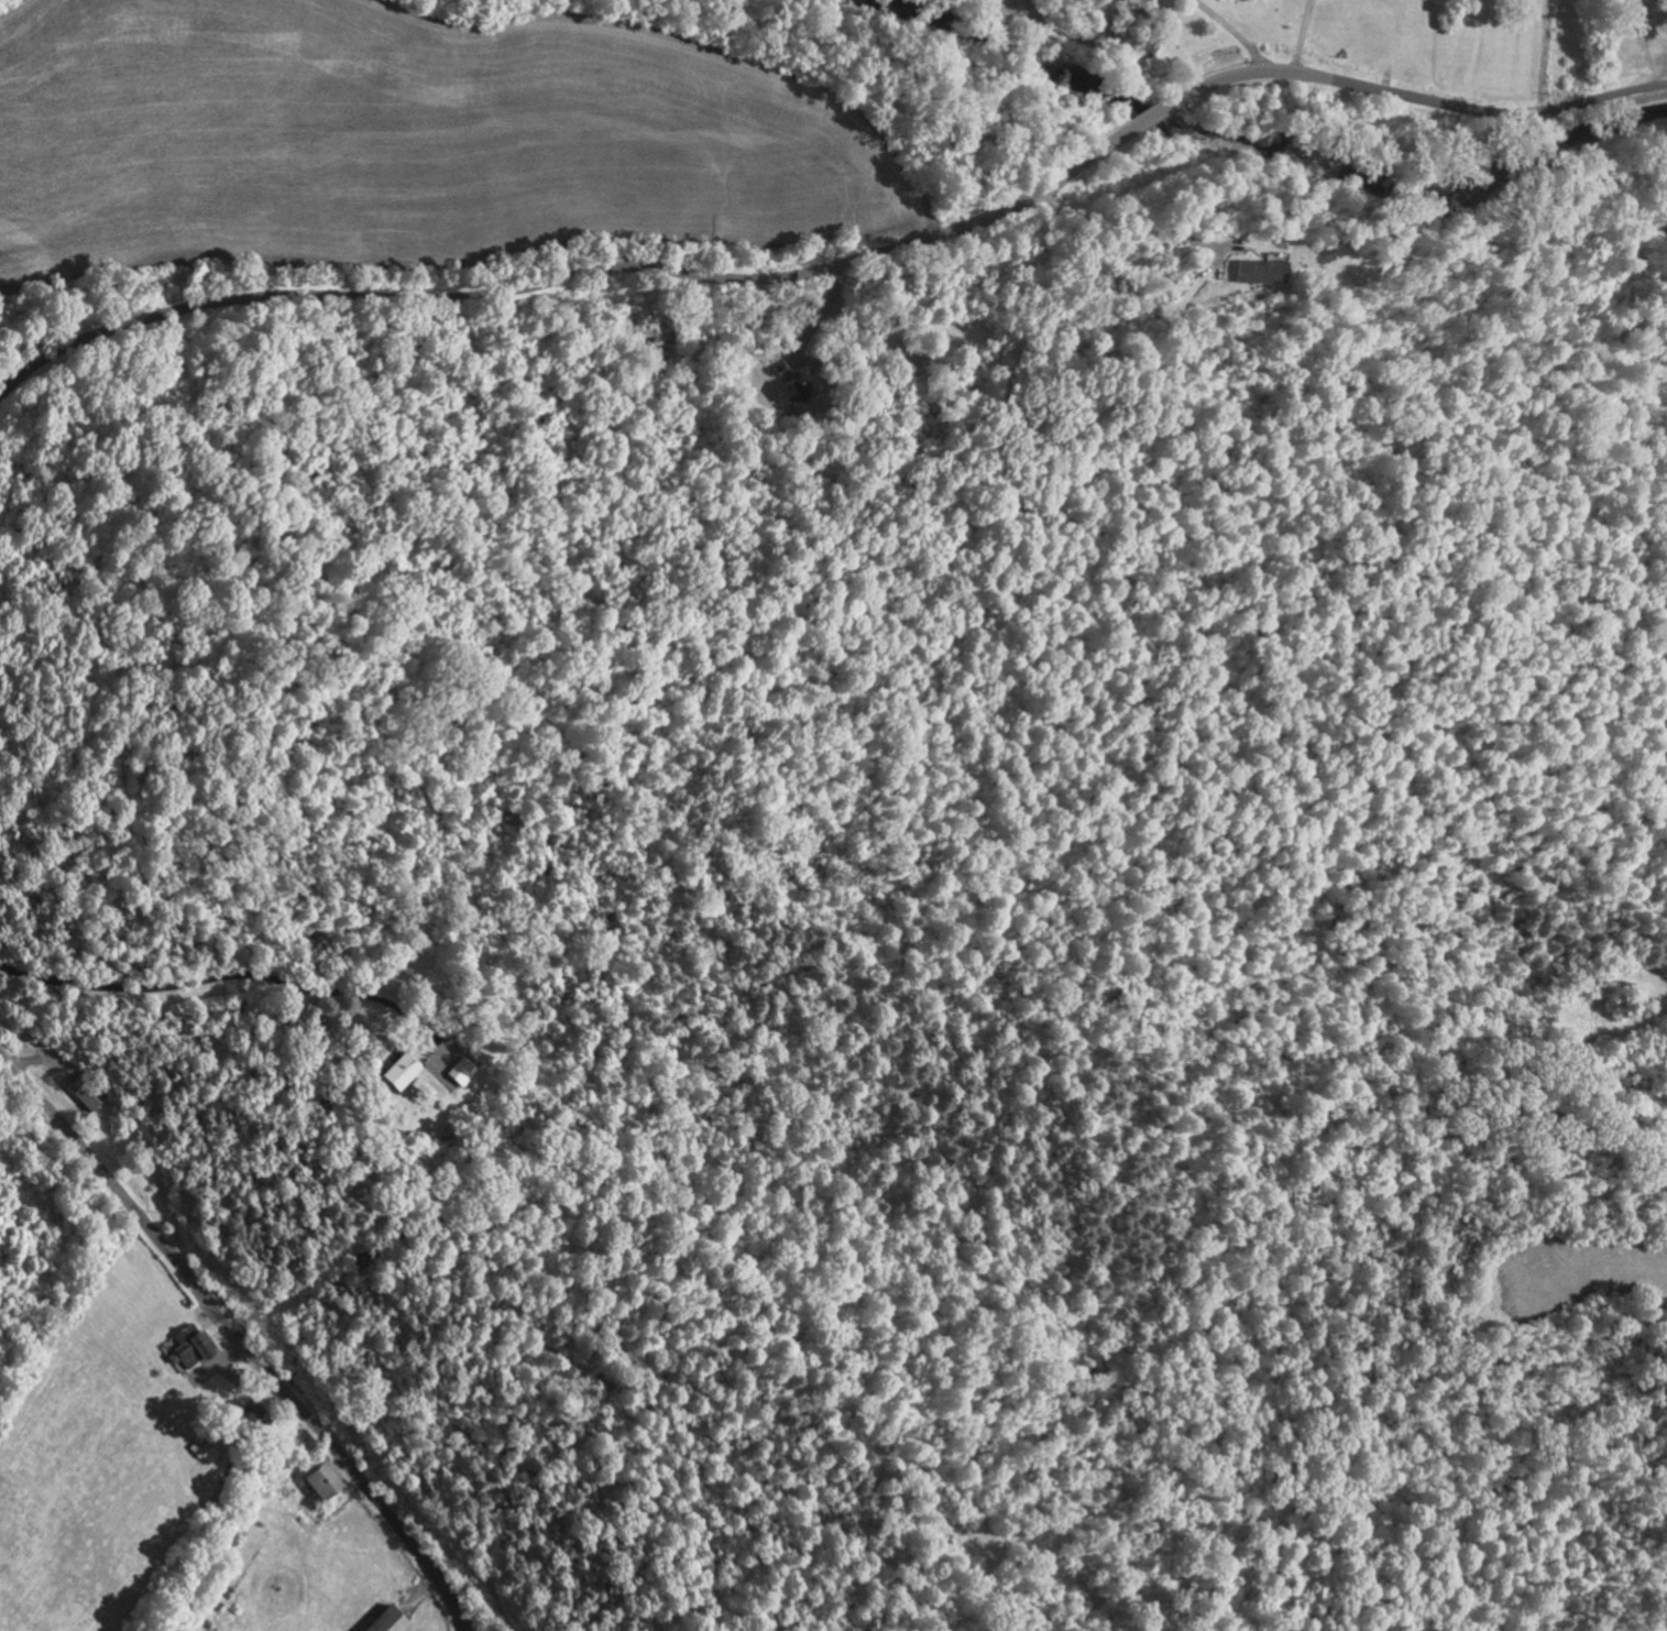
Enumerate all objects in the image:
road: (1236, 32)
road: (1303, 37)
road: (1657, 42)
road: (1392, 45)
road: (1664, 54)
road: (1547, 55)
road: (1422, 99)
road: (1156, 112)
road: (1138, 223)
building: (1260, 271)
road: (573, 275)
building: (793, 390)
building: (803, 405)
road: (204, 930)
building: (397, 1071)
building: (459, 1071)
building: (87, 1093)
road: (239, 1337)
building: (187, 1347)
building: (248, 1414)
building: (320, 1481)
building: (384, 1621)

